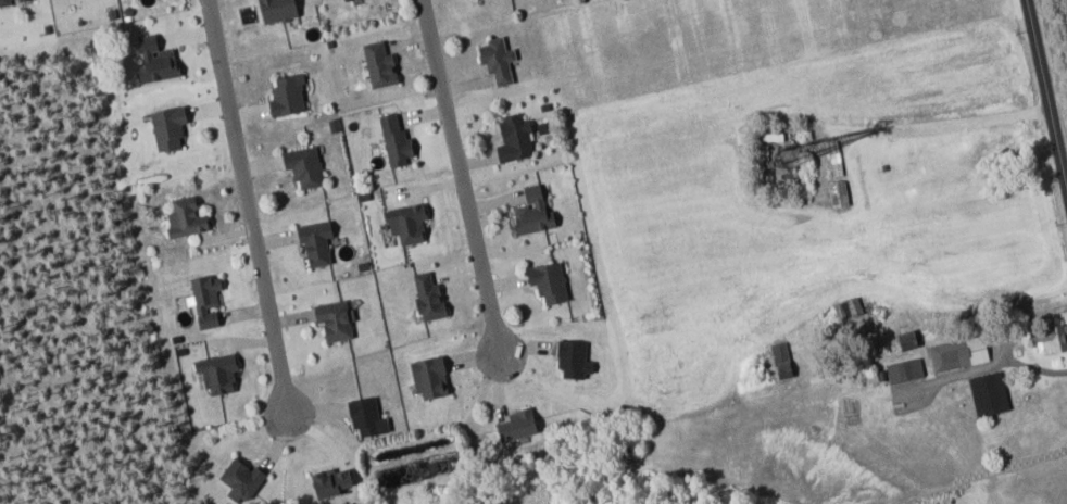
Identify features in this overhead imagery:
building: (8, 2)
building: (275, 10)
building: (495, 59)
building: (154, 60)
building: (377, 64)
building: (286, 94)
road: (1045, 94)
road: (954, 122)
building: (166, 127)
building: (513, 137)
building: (393, 140)
building: (302, 165)
road: (461, 182)
building: (838, 192)
road: (247, 207)
building: (531, 211)
building: (184, 217)
building: (405, 223)
building: (314, 242)
building: (547, 280)
building: (426, 297)
building: (204, 299)
building: (332, 319)
building: (903, 330)
building: (1051, 339)
road: (1009, 345)
building: (957, 353)
building: (573, 358)
building: (780, 360)
building: (904, 369)
building: (216, 373)
building: (428, 377)
building: (988, 393)
building: (365, 416)
building: (515, 425)
building: (239, 479)
building: (328, 481)

